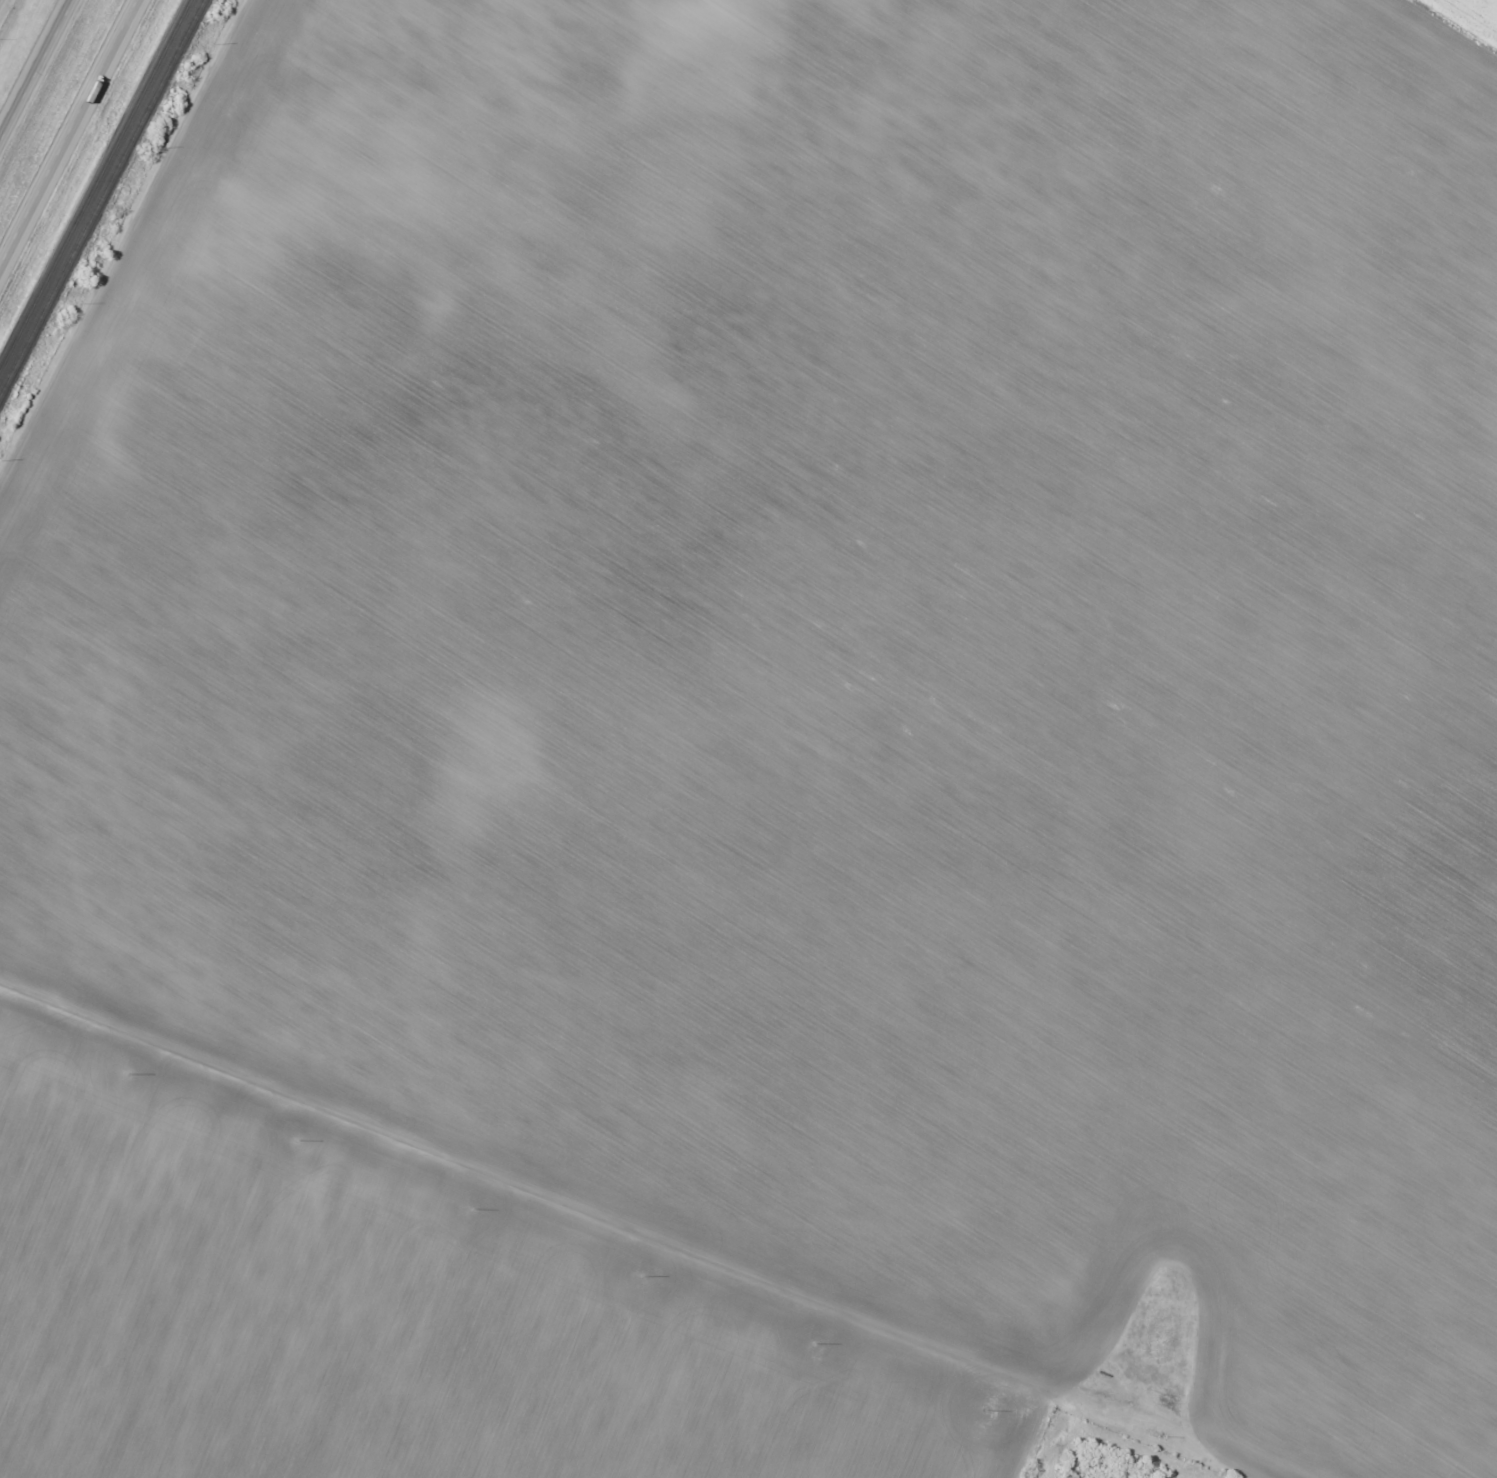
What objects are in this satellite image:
road: (36, 71)
road: (76, 148)
railway: (102, 203)

